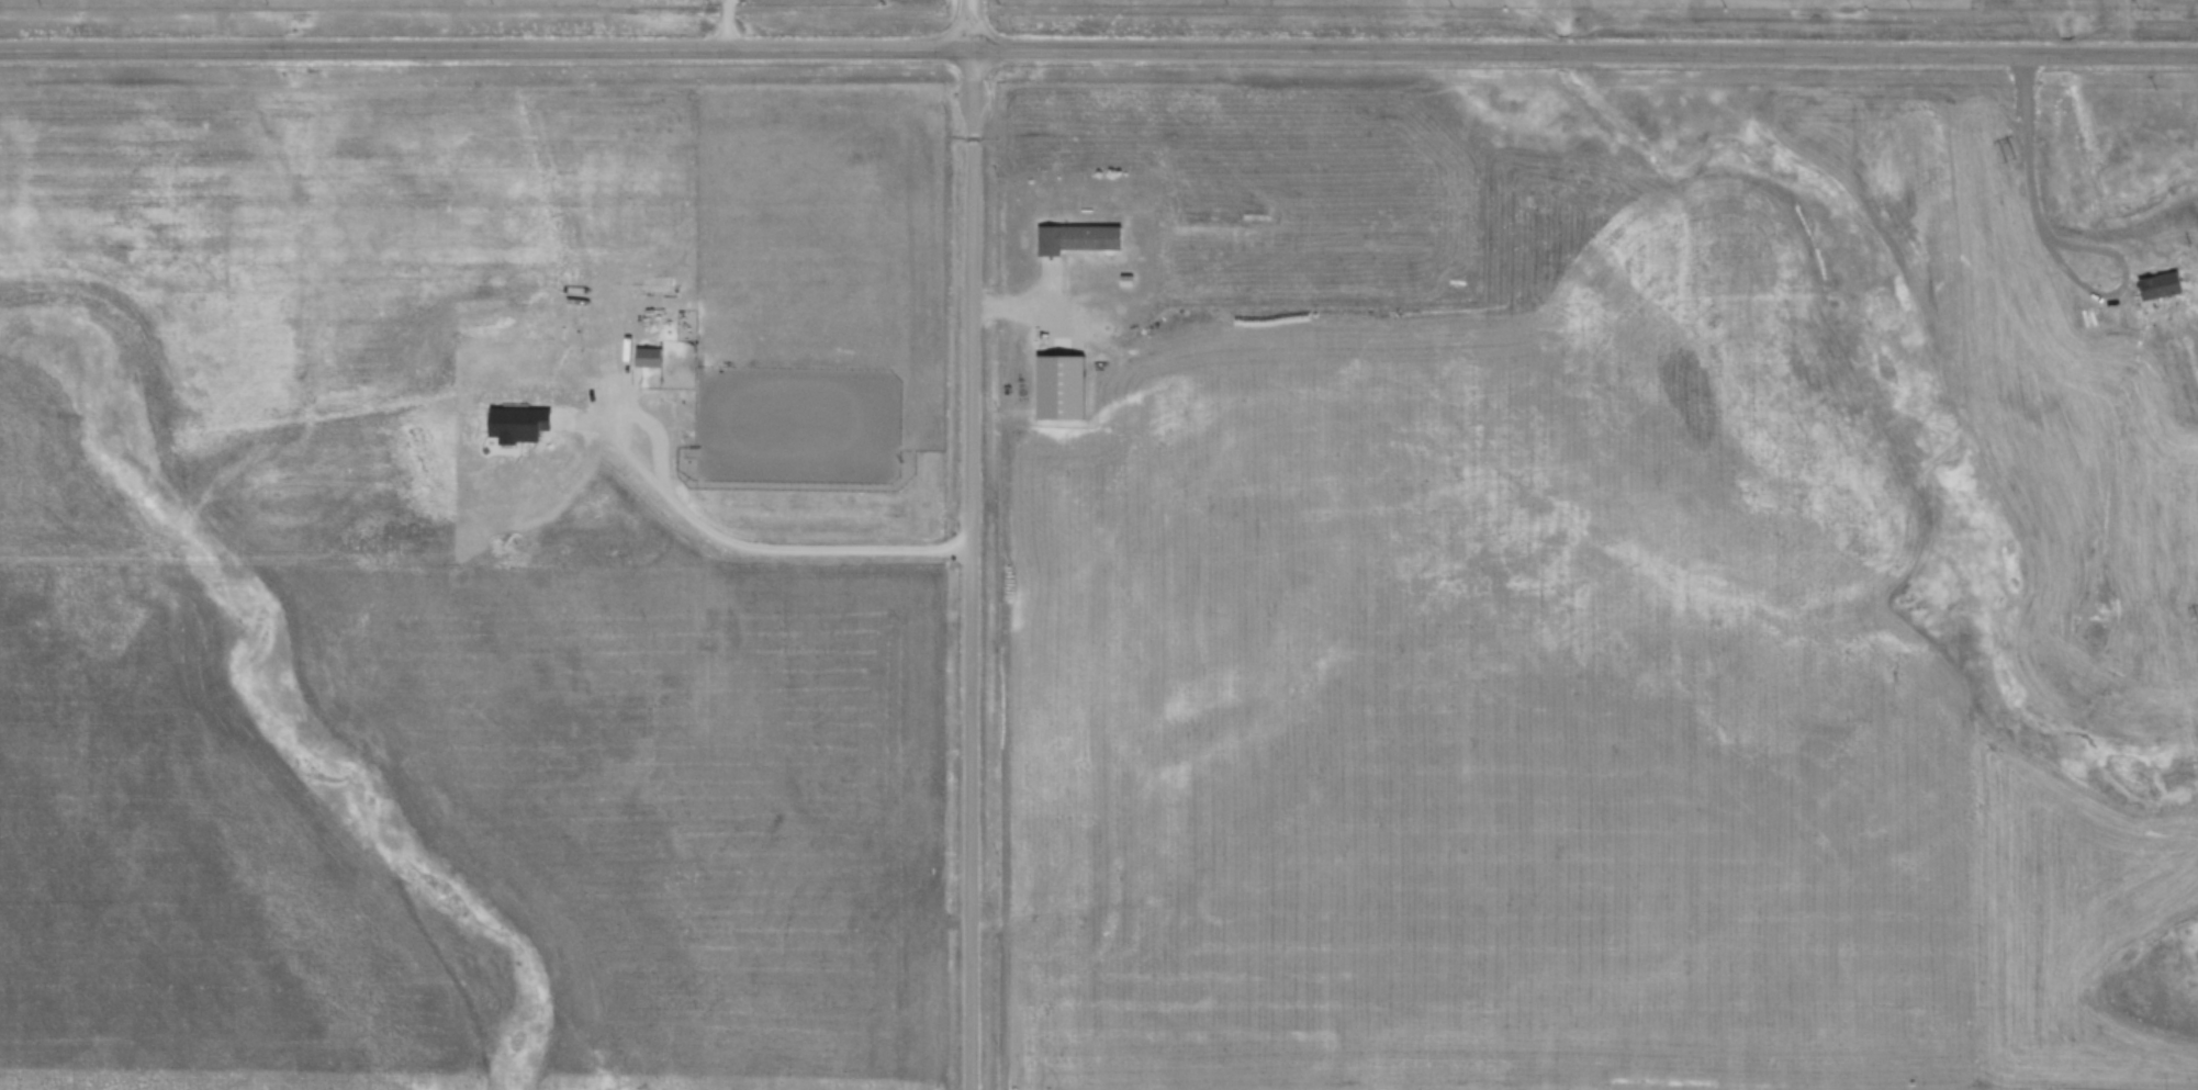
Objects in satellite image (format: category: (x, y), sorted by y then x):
road: (1099, 50)
power tower: (2009, 159)
building: (1080, 238)
road: (966, 544)
building: (938, 839)

